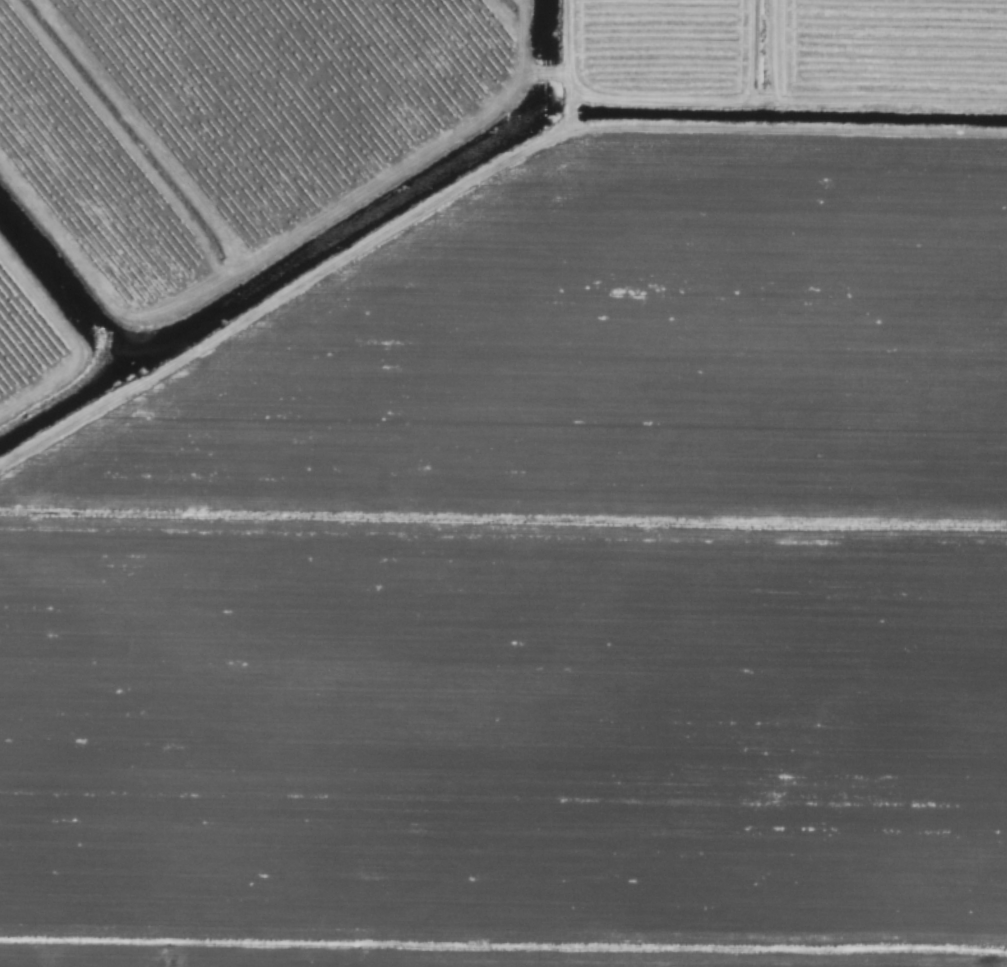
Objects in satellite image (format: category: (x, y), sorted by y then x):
crop: (503, 483)

